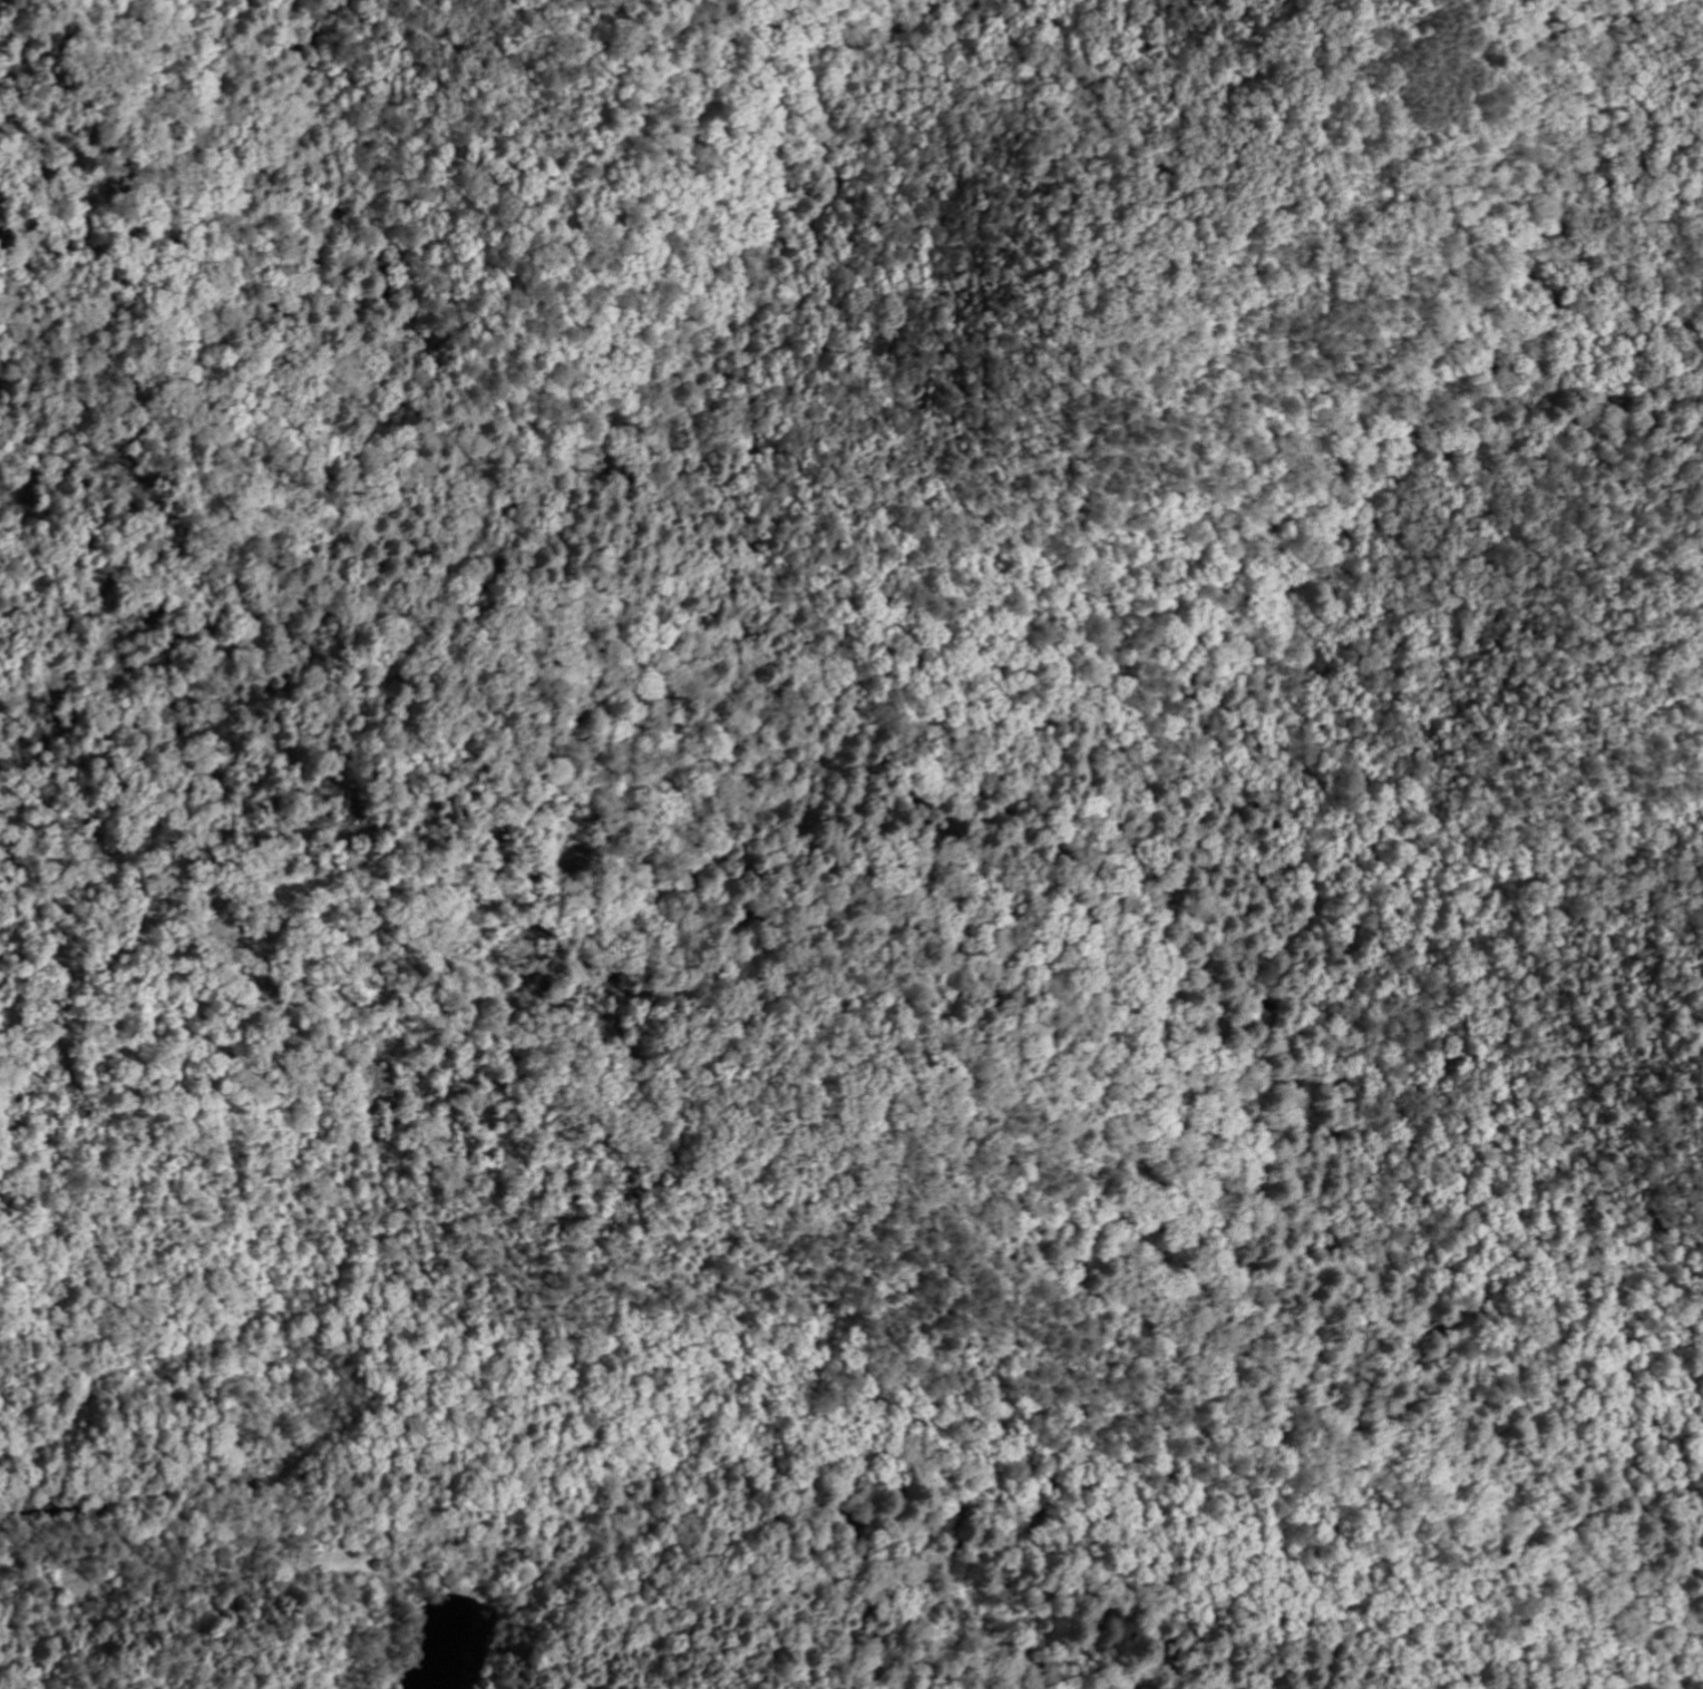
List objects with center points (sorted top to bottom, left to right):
road: (295, 1580)

